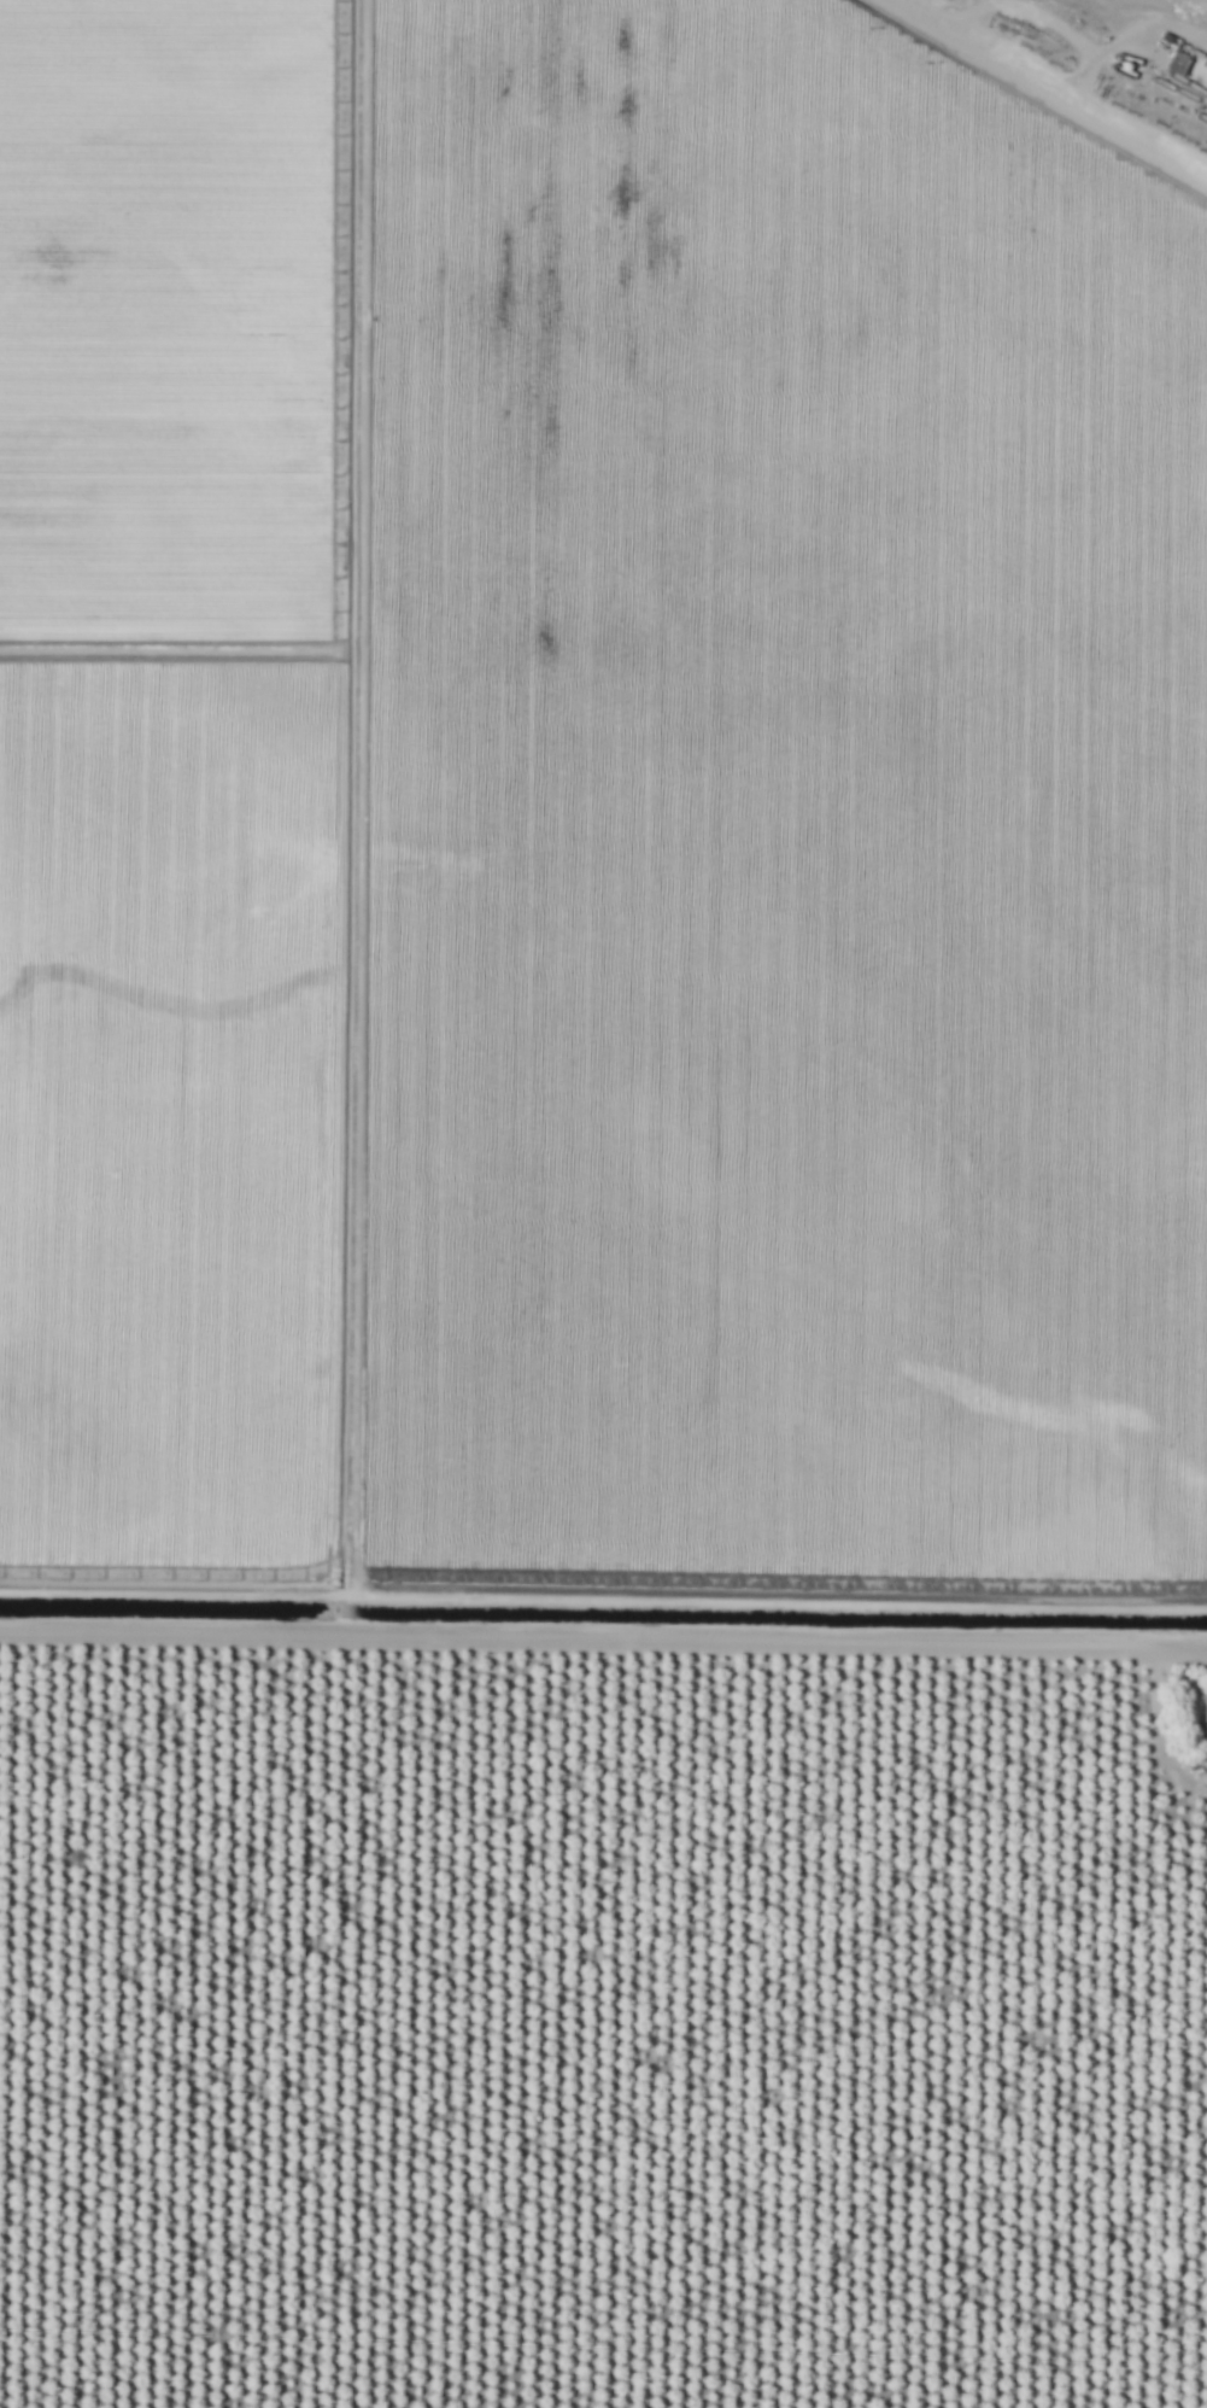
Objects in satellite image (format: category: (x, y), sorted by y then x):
crop: (39, 741)
crop: (635, 801)
road: (603, 1632)
crop: (599, 2033)

